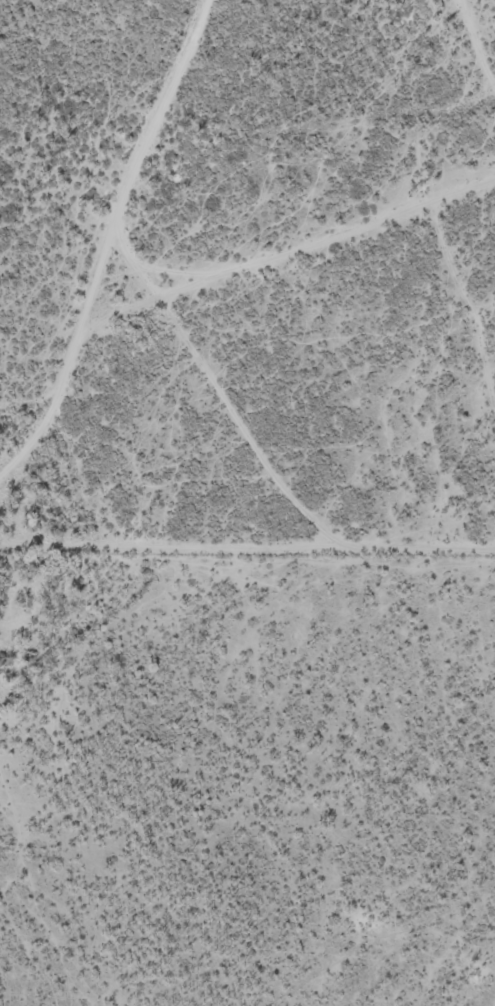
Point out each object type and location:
road: (143, 168)
road: (206, 282)

